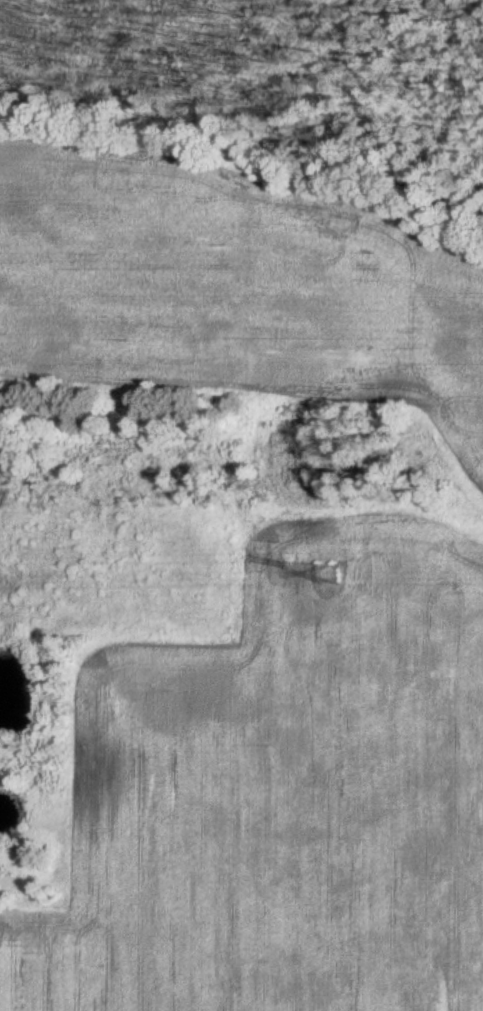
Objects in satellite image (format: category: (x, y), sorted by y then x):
power tower: (333, 569)

